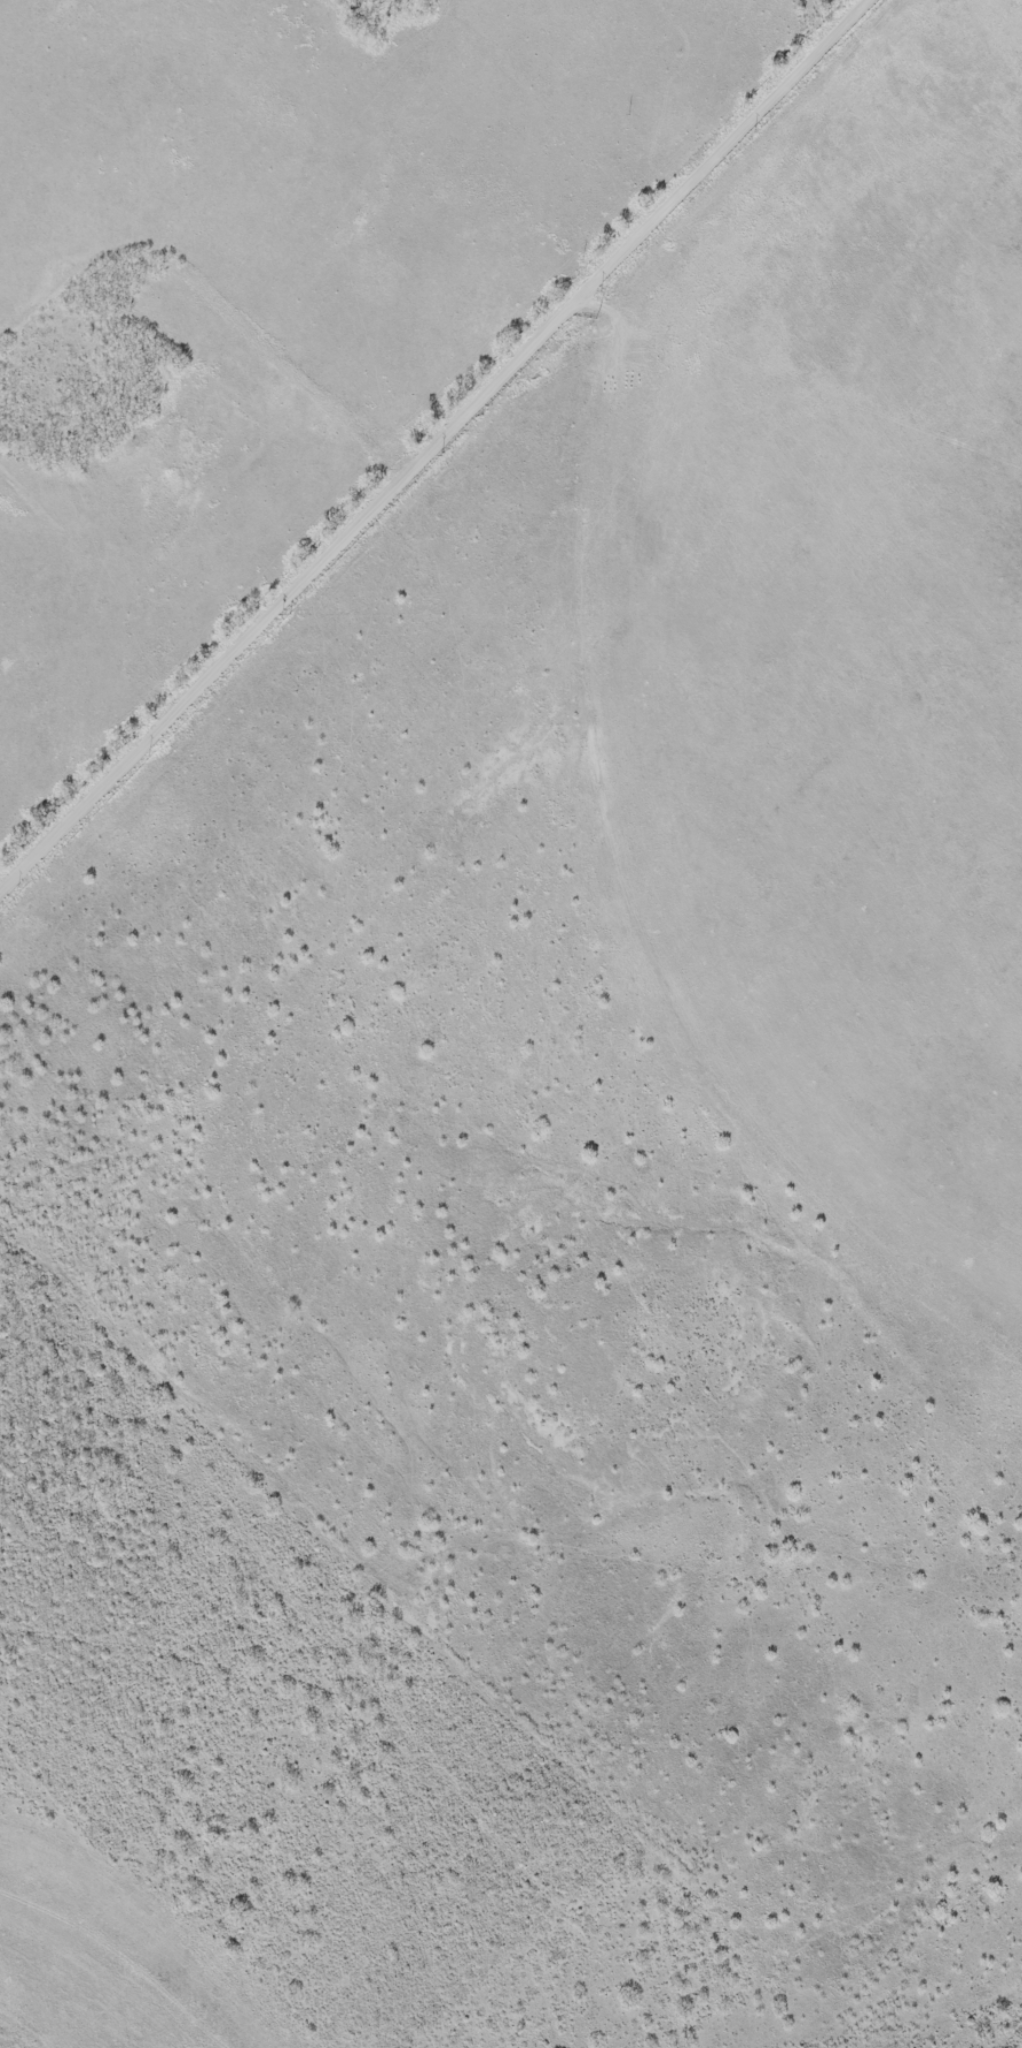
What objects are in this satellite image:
road: (422, 441)
road: (799, 494)

